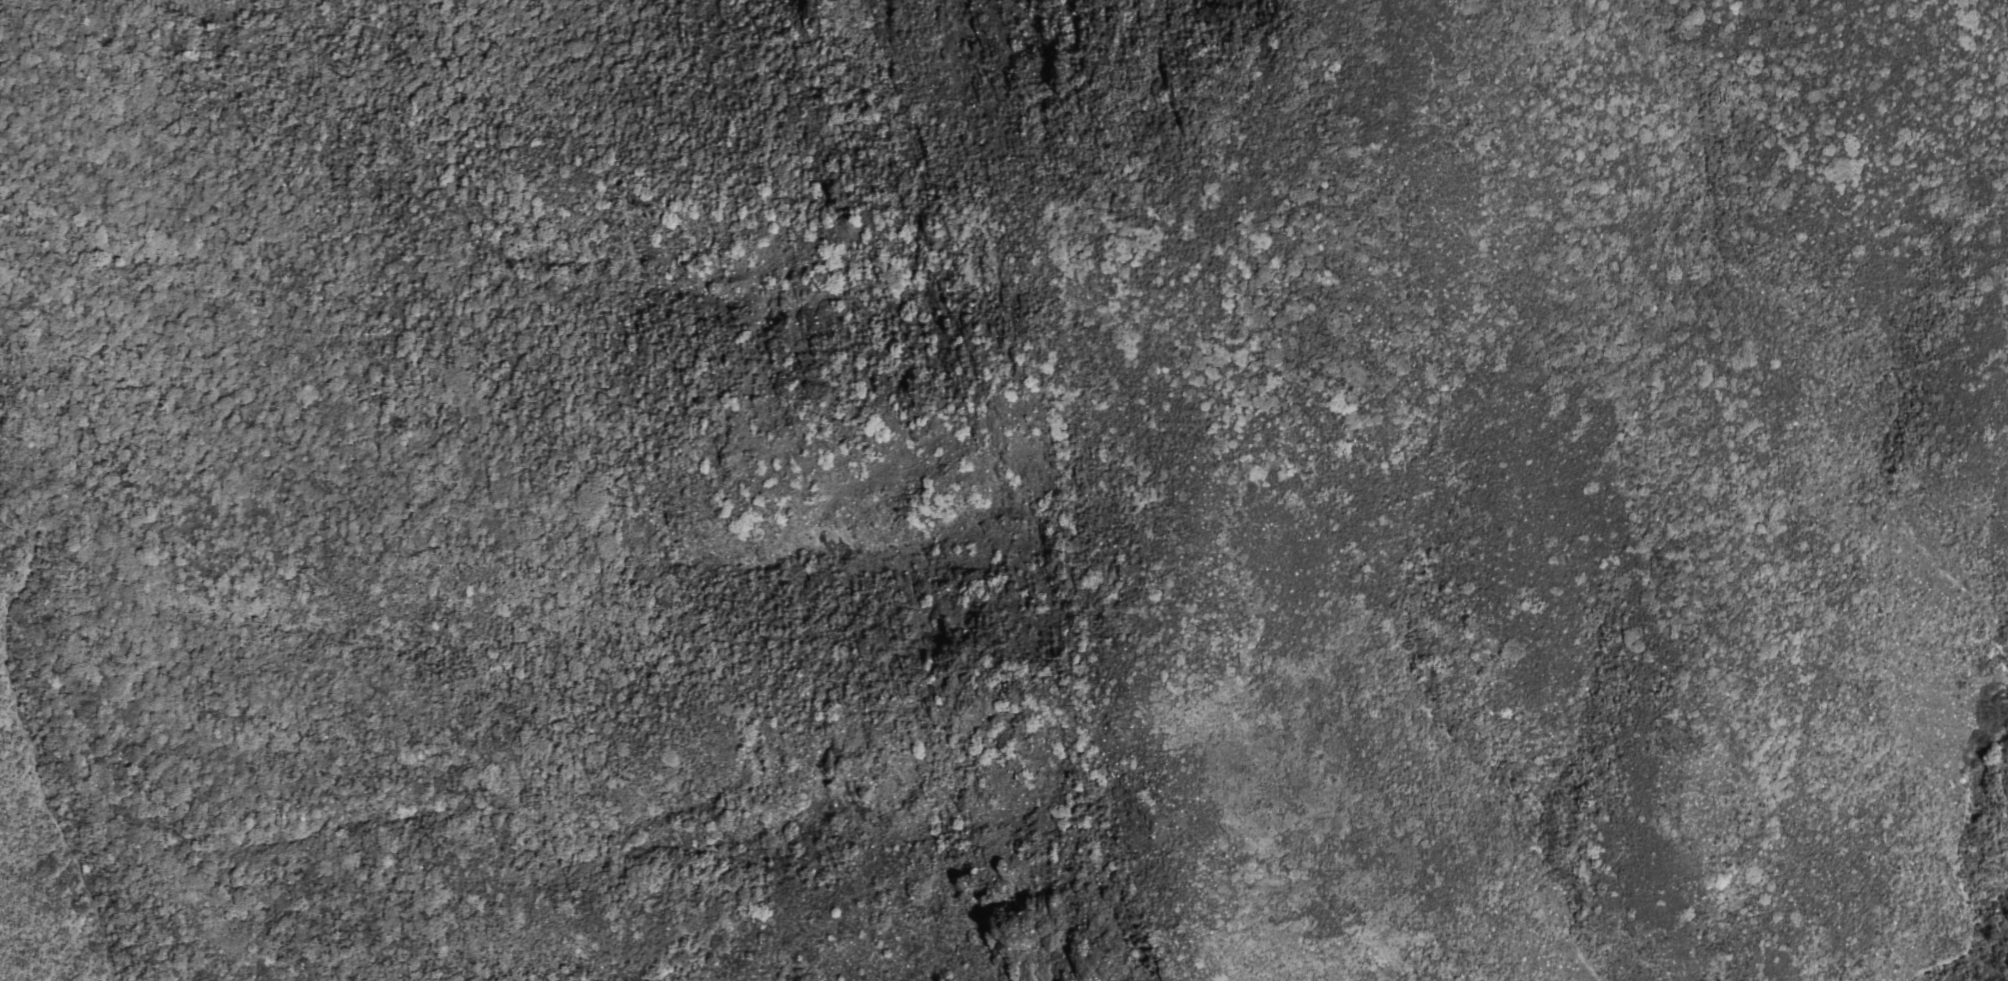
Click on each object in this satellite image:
road: (23, 747)

